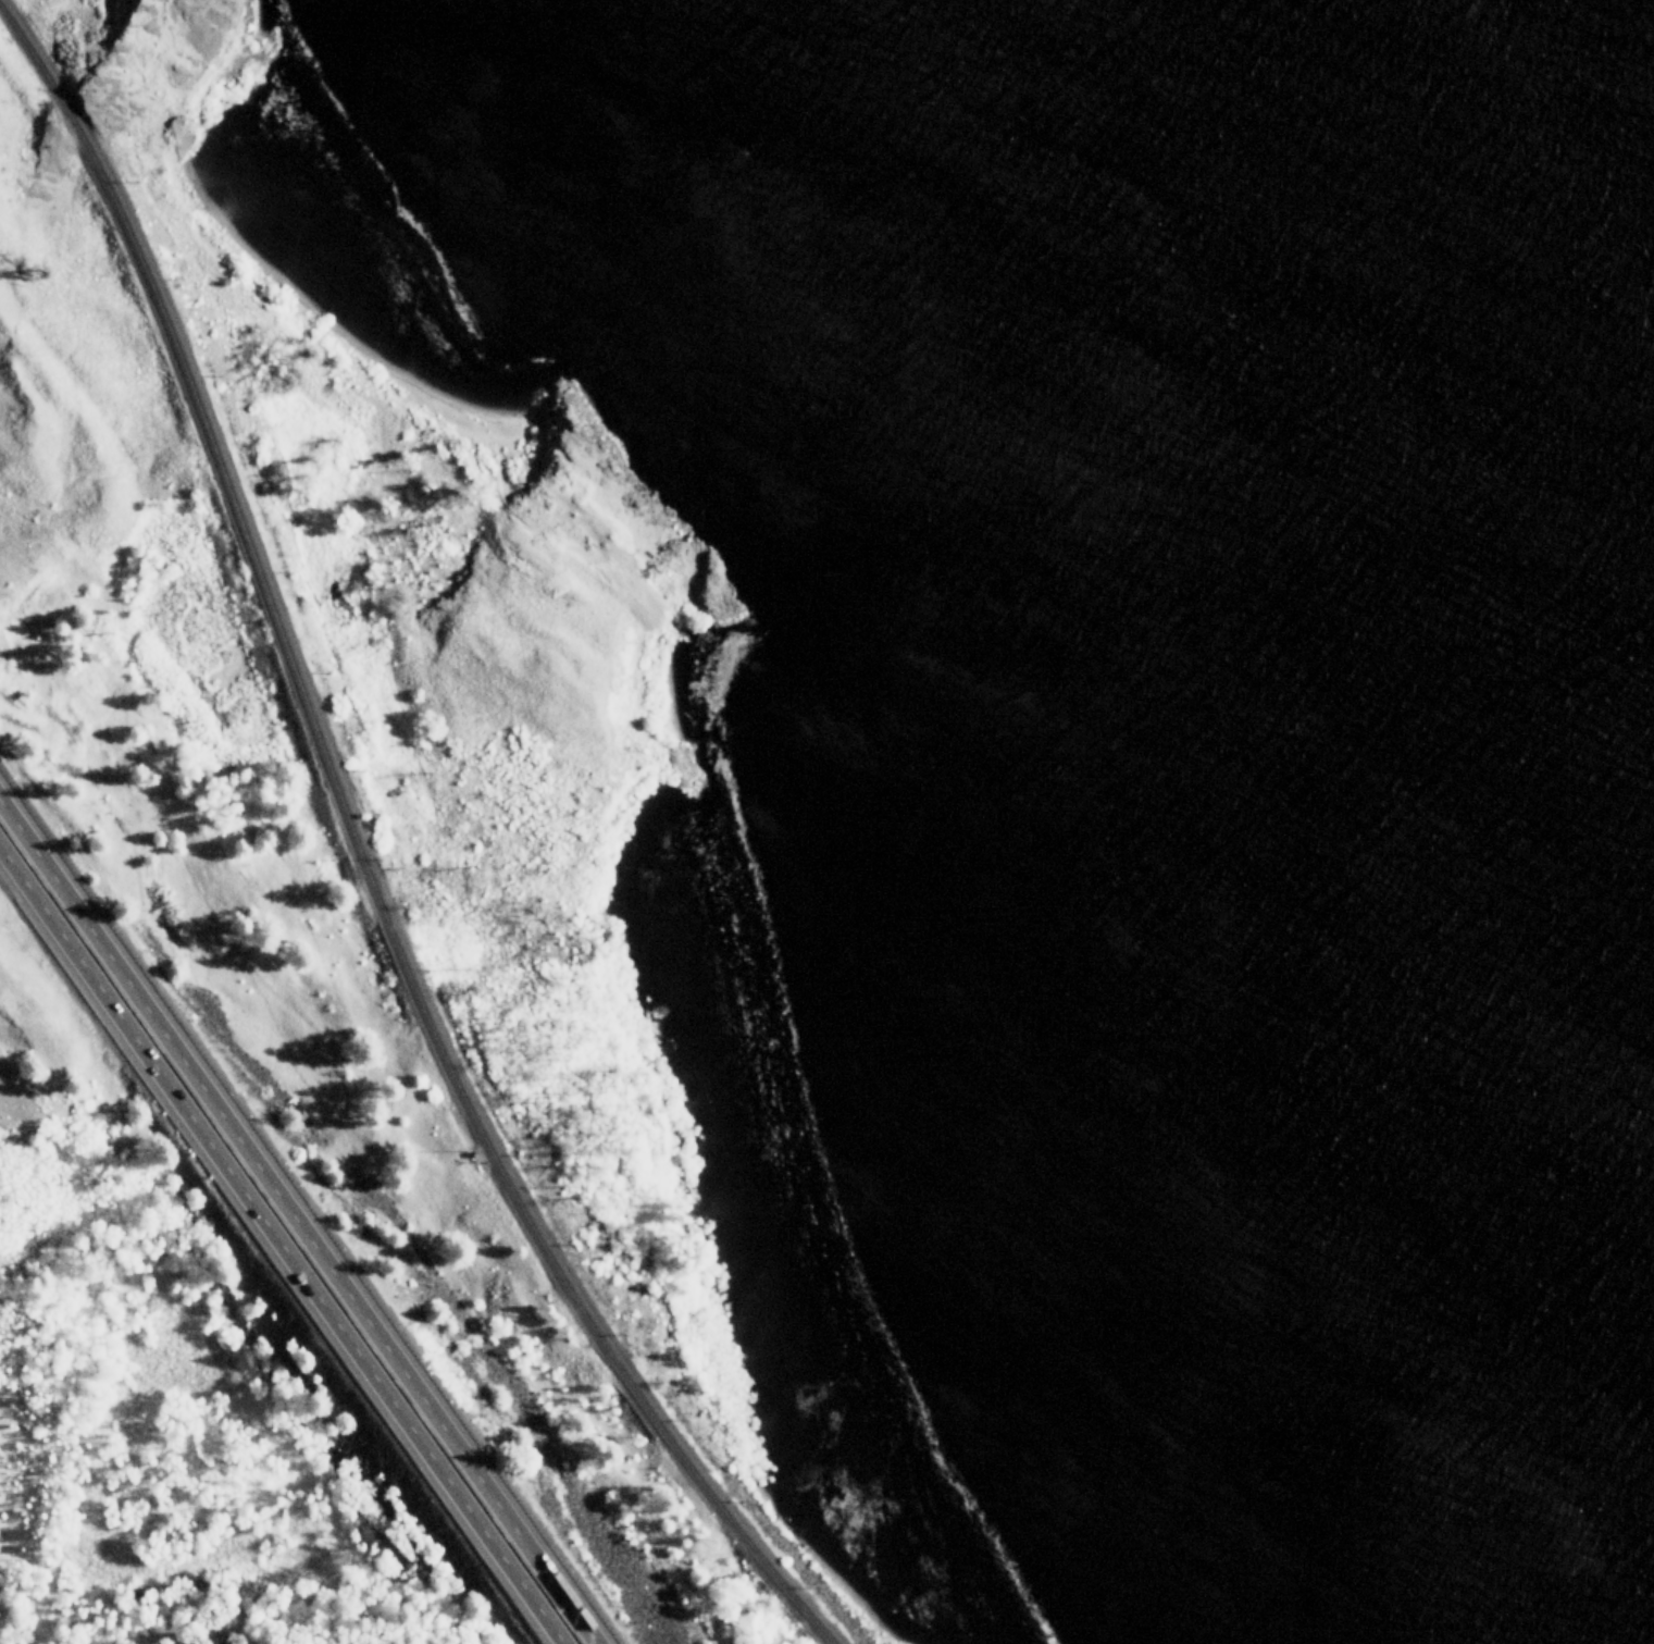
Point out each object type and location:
river: (1453, 431)
railway: (373, 854)
road: (299, 1220)
road: (282, 1247)

